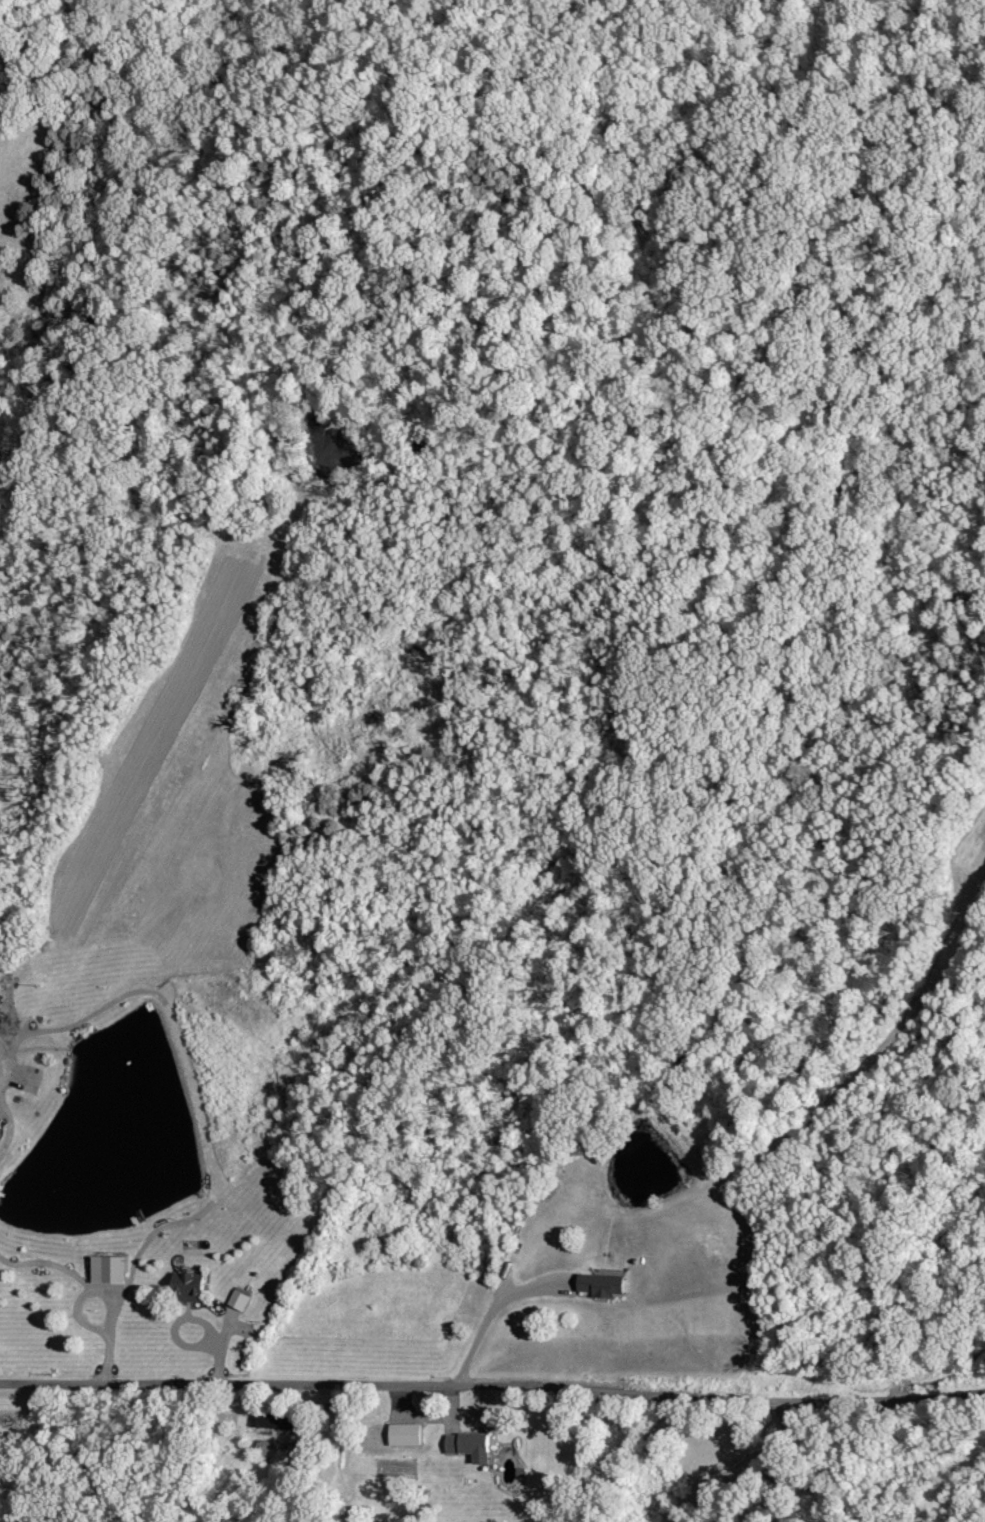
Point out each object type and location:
road: (10, 1129)
building: (107, 1269)
building: (602, 1284)
building: (189, 1287)
road: (94, 1292)
road: (489, 1316)
road: (493, 1398)
building: (406, 1434)
building: (470, 1446)
building: (267, 1448)
road: (782, 1465)

